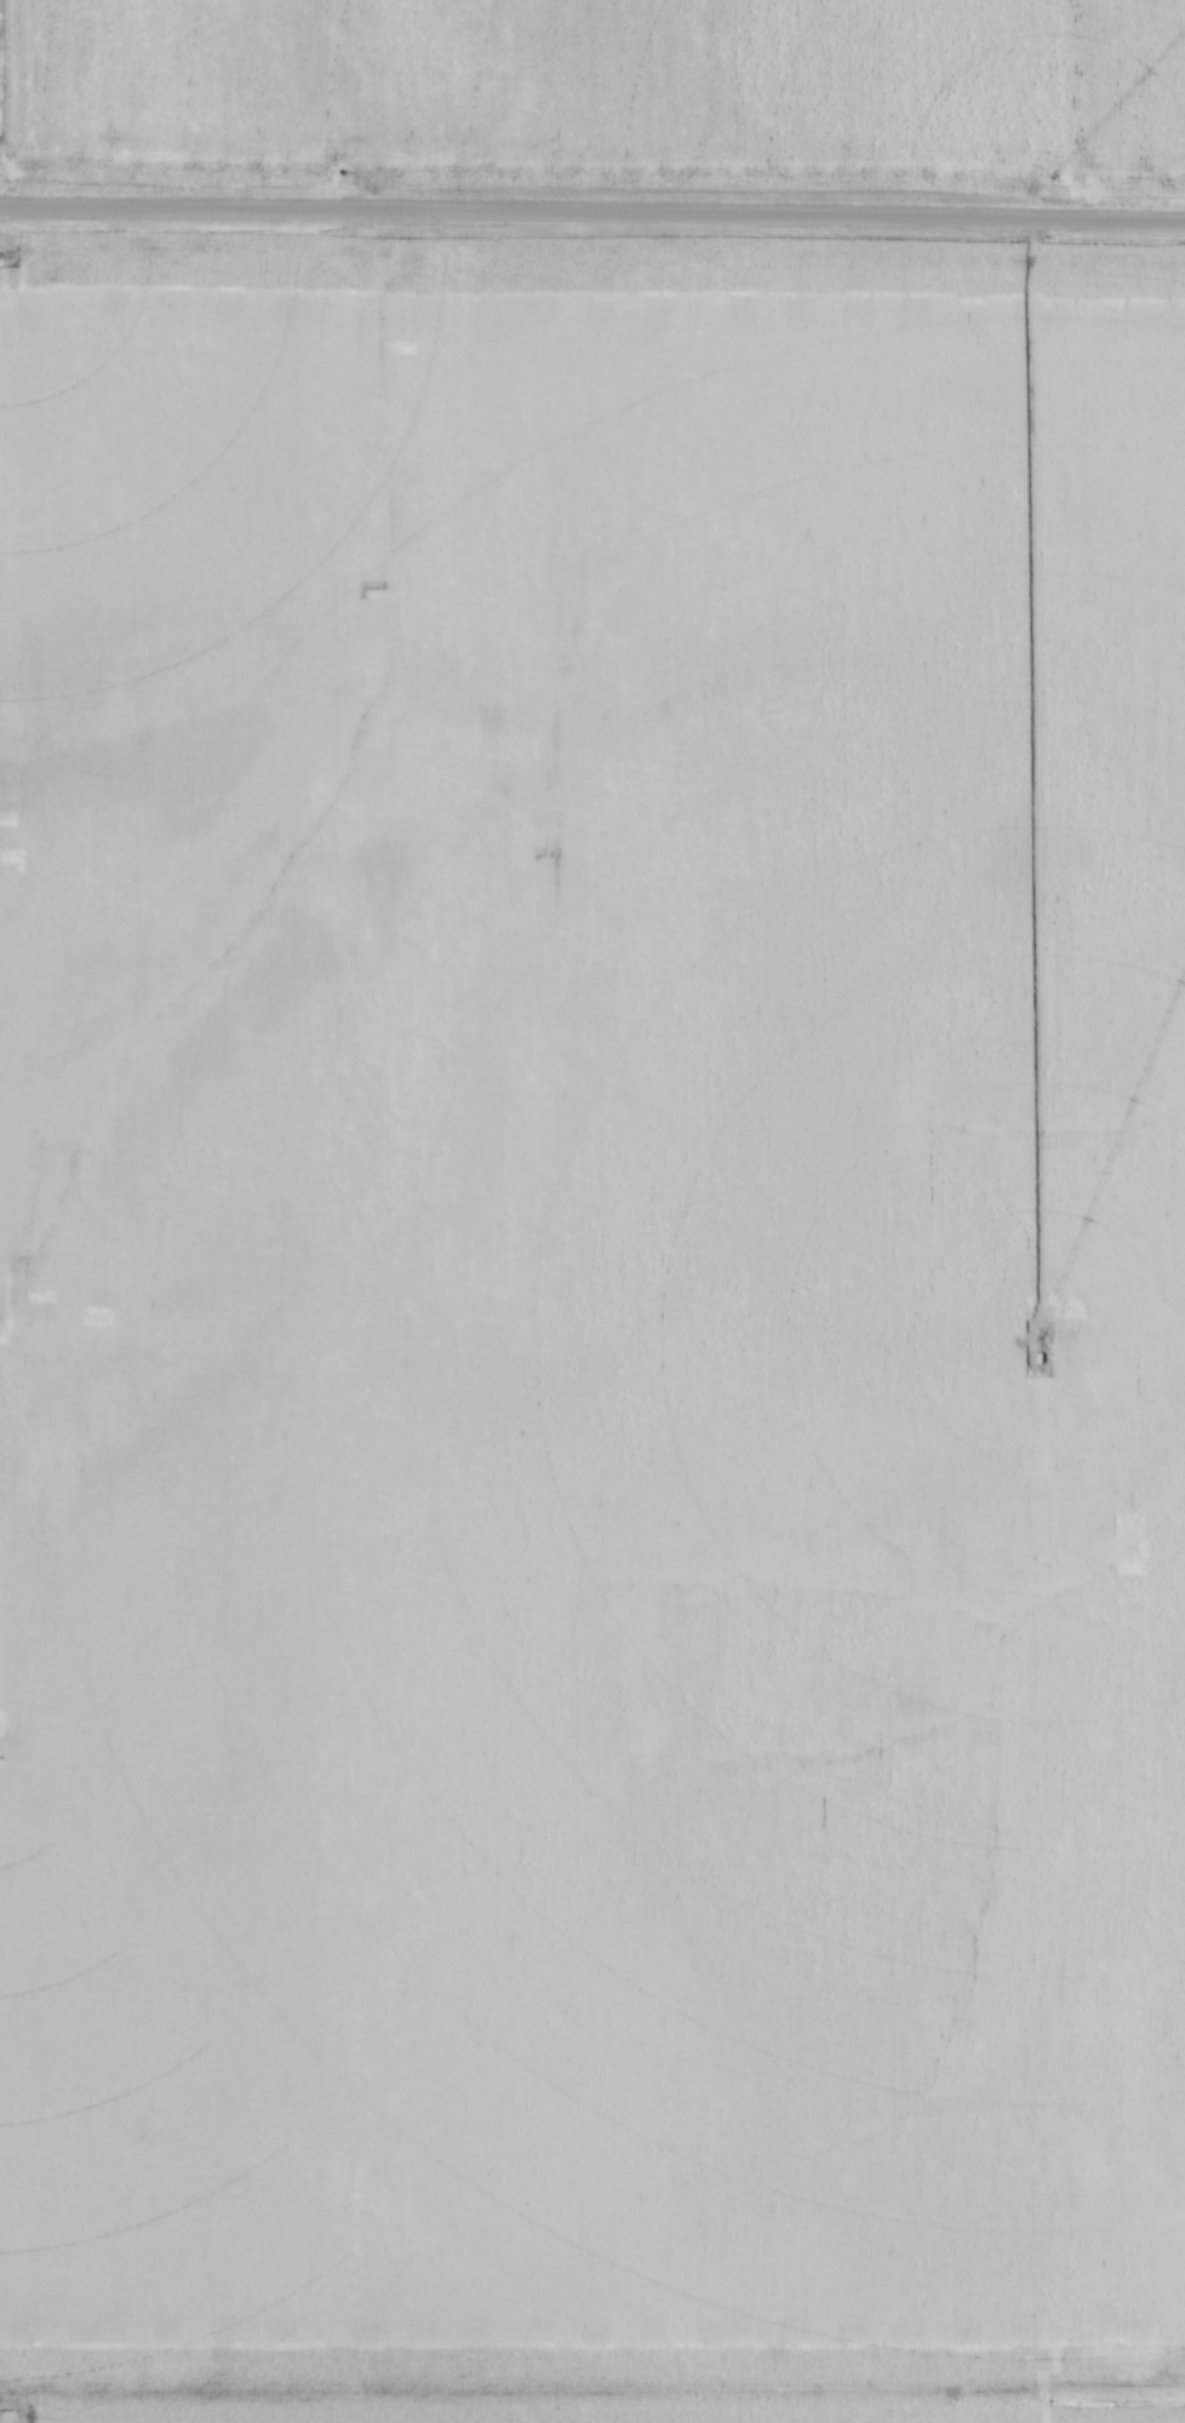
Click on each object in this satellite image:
road: (592, 216)

